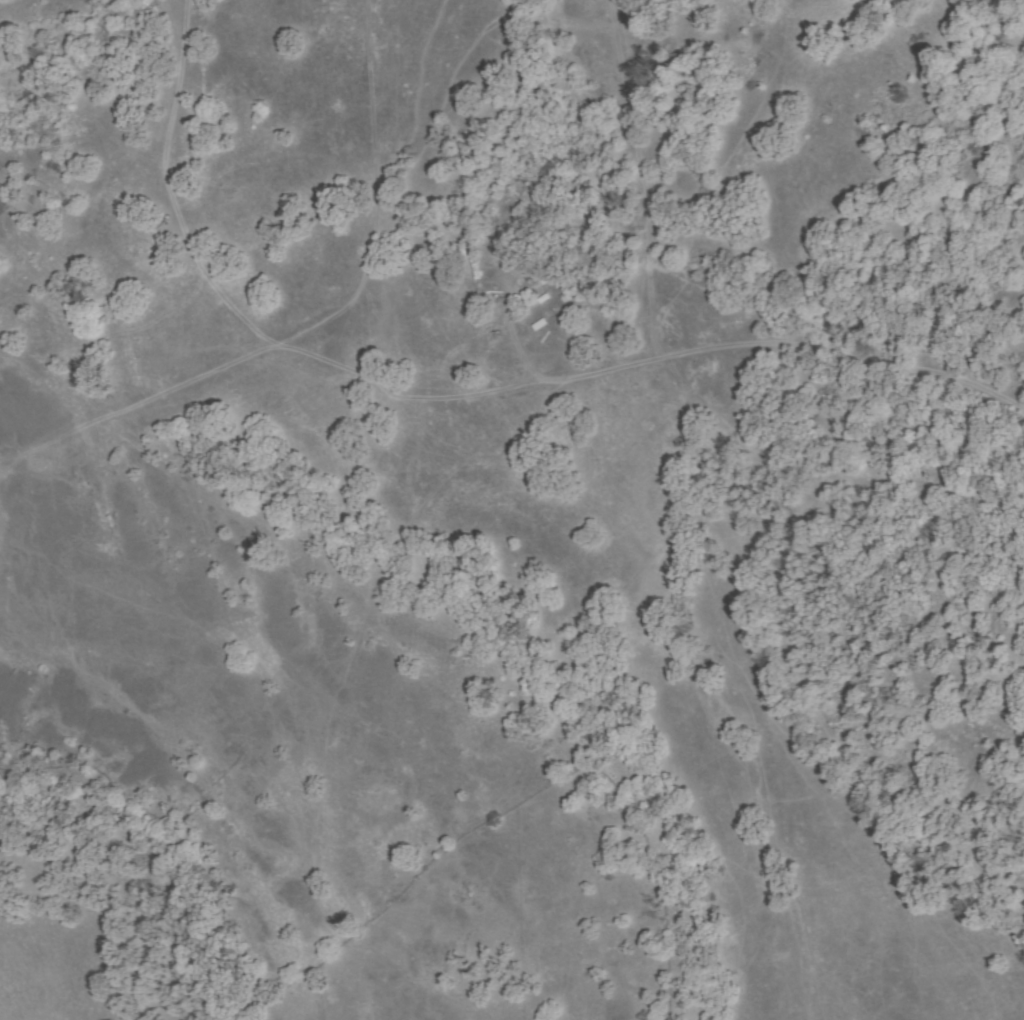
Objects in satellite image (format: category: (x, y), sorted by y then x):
road: (632, 179)
road: (375, 186)
building: (475, 268)
building: (543, 298)
building: (538, 325)
road: (280, 344)
road: (841, 358)

